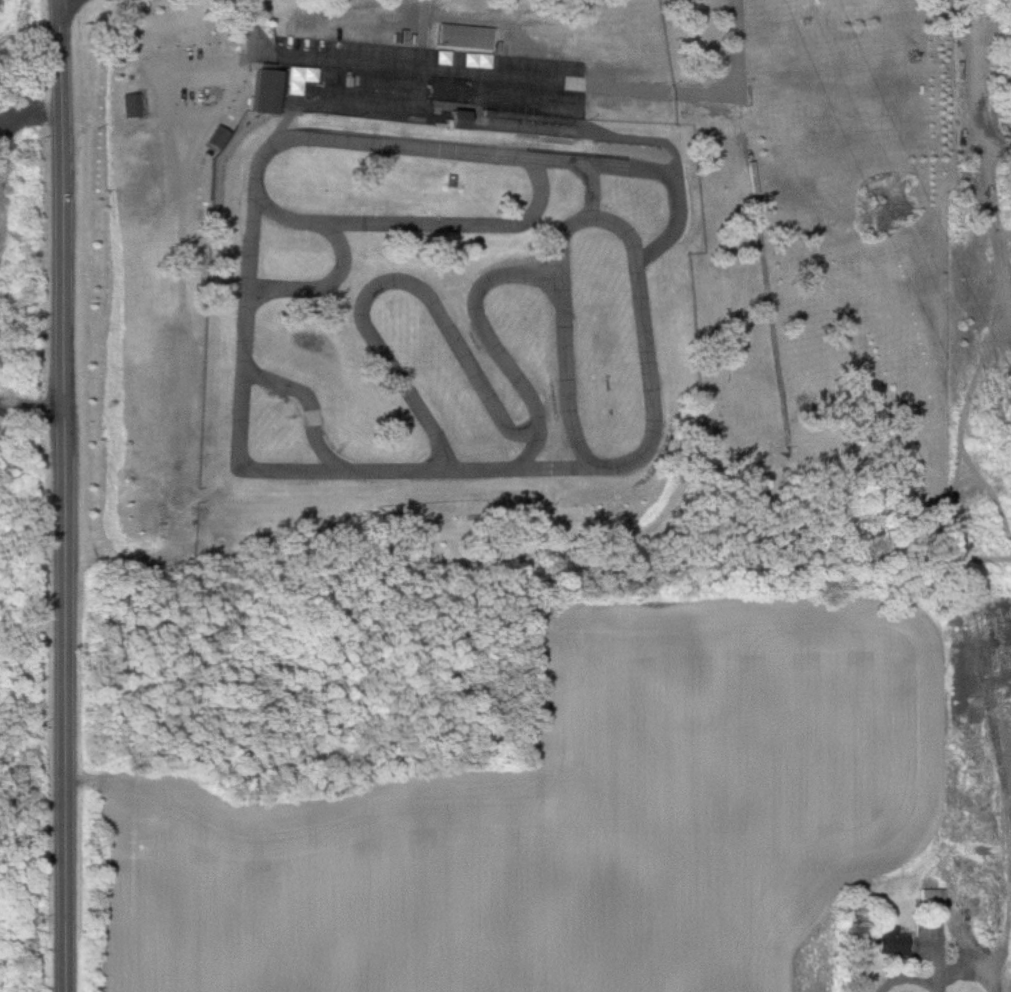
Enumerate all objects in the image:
building: (284, 8)
building: (353, 18)
building: (751, 24)
building: (465, 36)
building: (531, 45)
road: (321, 57)
building: (463, 58)
road: (425, 74)
building: (295, 80)
road: (623, 86)
building: (262, 90)
building: (435, 95)
building: (534, 99)
building: (129, 104)
building: (456, 118)
building: (215, 137)
road: (581, 169)
building: (453, 177)
road: (672, 178)
road: (634, 210)
road: (396, 282)
road: (327, 285)
road: (495, 343)
road: (32, 401)
road: (313, 407)
road: (246, 465)
road: (65, 495)
building: (929, 897)
building: (924, 928)
building: (890, 941)
road: (915, 977)

